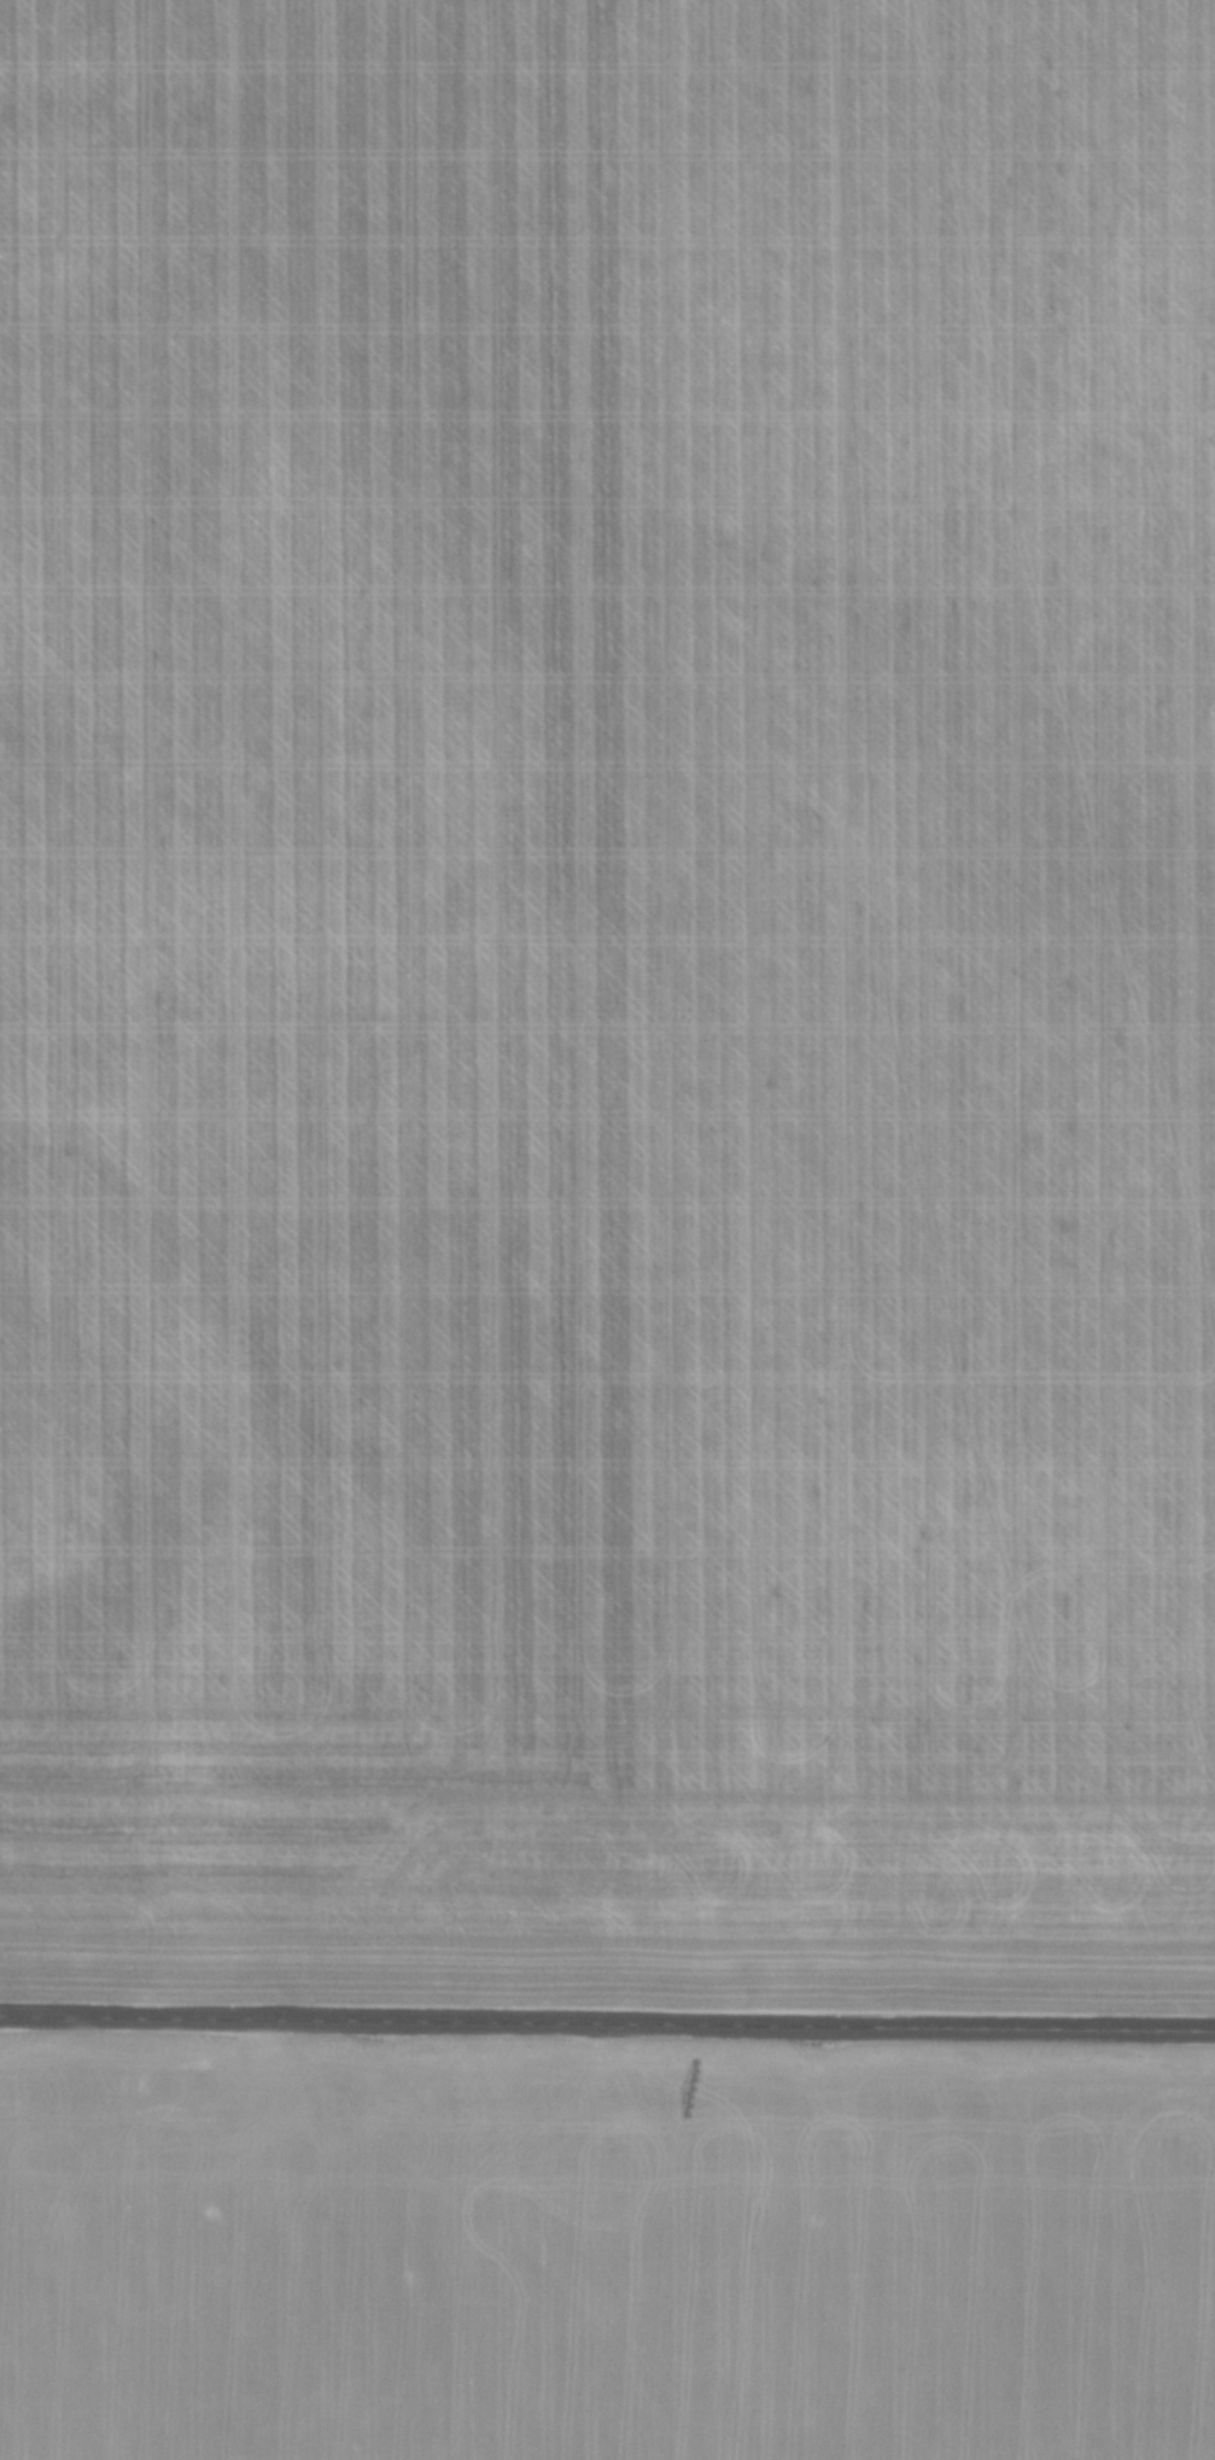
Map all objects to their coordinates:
road: (607, 2021)

